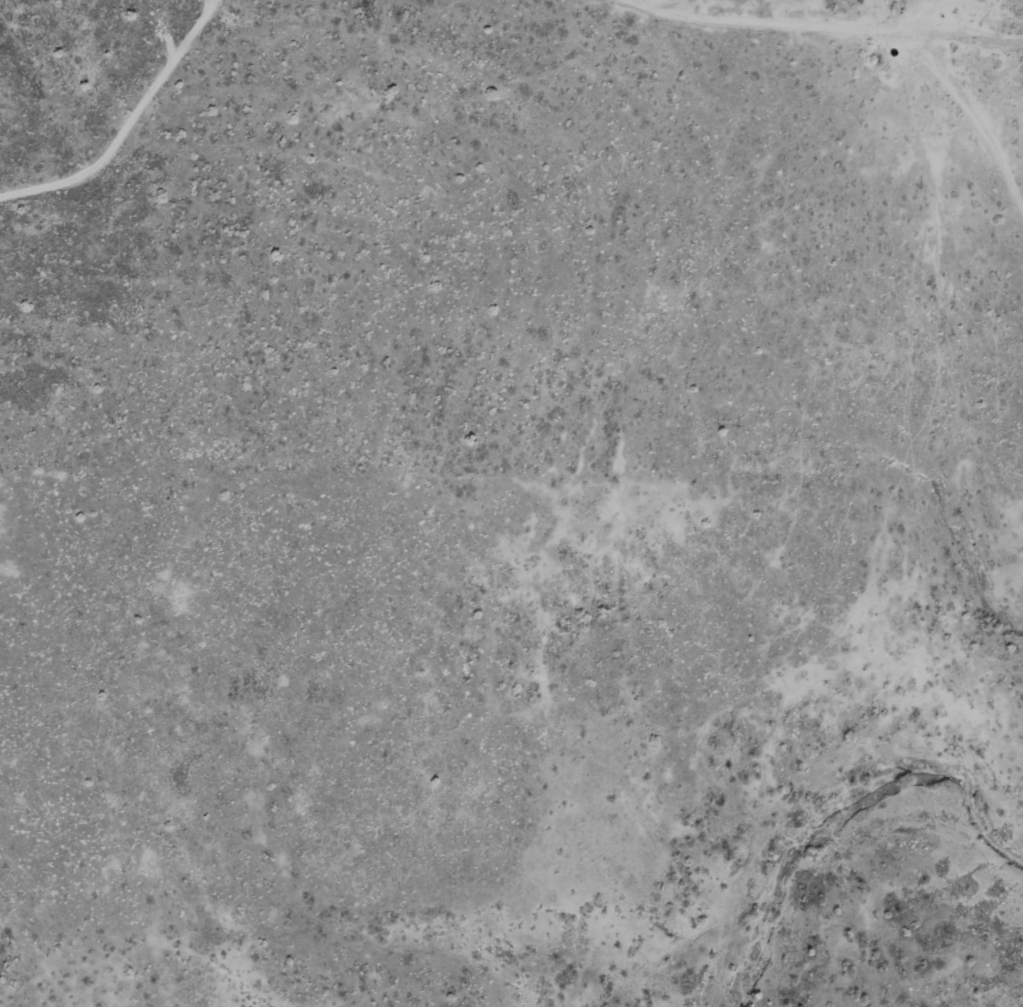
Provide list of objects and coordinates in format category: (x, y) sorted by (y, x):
road: (804, 34)
road: (131, 131)

